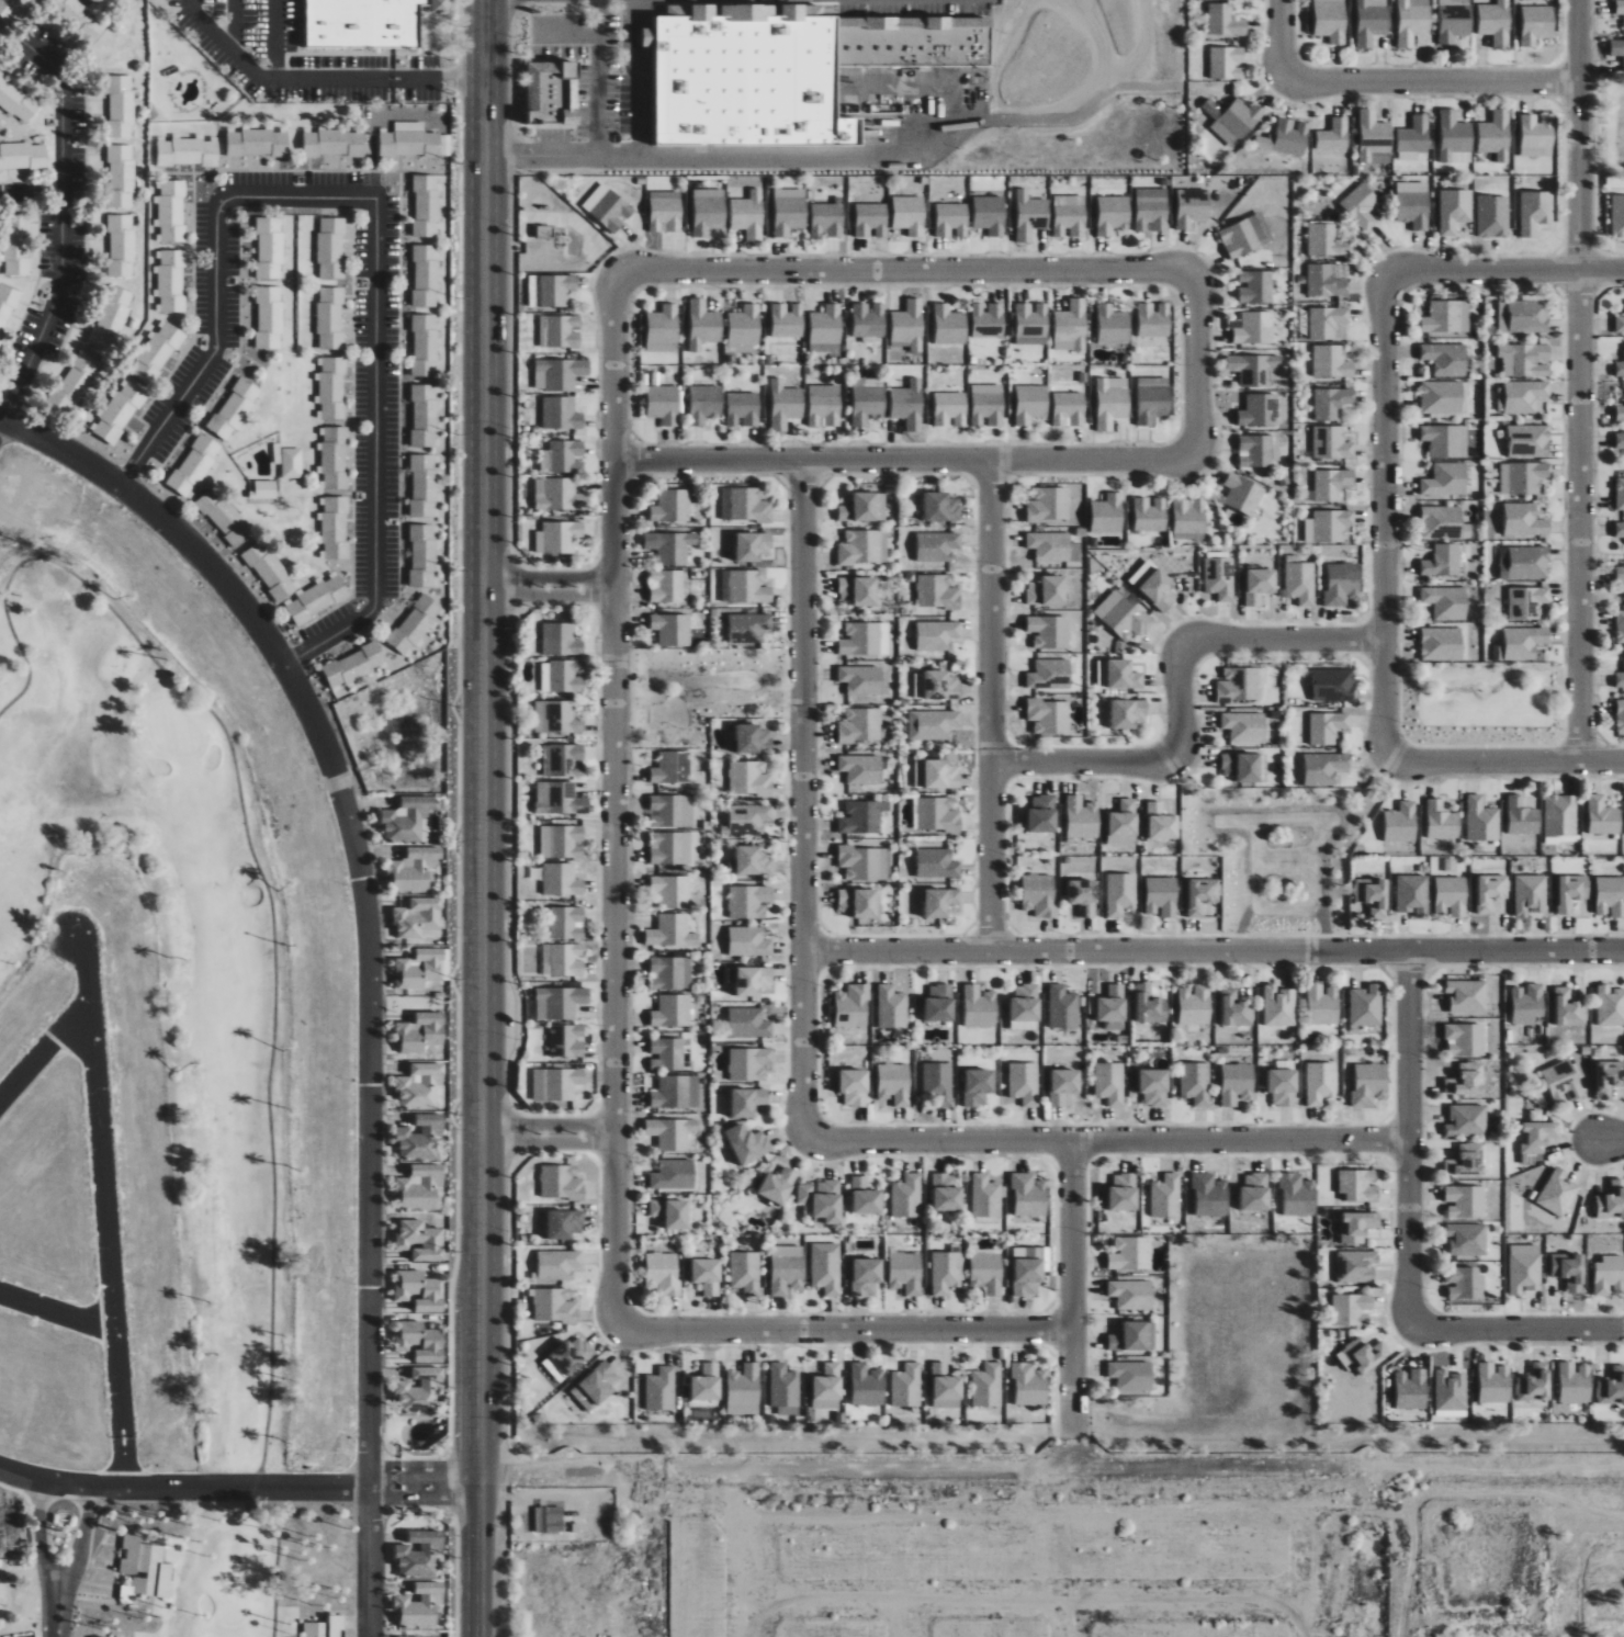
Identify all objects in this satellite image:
building: (1620, 7)
building: (10, 8)
parking lot: (912, 8)
building: (77, 16)
building: (1330, 20)
building: (1454, 20)
building: (1225, 21)
building: (1371, 21)
building: (1412, 21)
building: (1496, 22)
building: (366, 23)
building: (1536, 24)
building: (0, 27)
road: (236, 27)
building: (1623, 27)
road: (566, 37)
building: (649, 37)
road: (274, 38)
road: (1282, 38)
road: (643, 39)
road: (629, 41)
building: (912, 42)
building: (1616, 48)
building: (1227, 63)
parking lot: (587, 72)
road: (318, 78)
road: (598, 78)
building: (746, 81)
road: (1432, 82)
building: (549, 94)
building: (16, 100)
building: (121, 106)
road: (643, 117)
building: (1233, 120)
building: (1334, 135)
building: (1373, 135)
building: (1496, 135)
building: (1536, 135)
building: (1286, 137)
building: (1413, 138)
building: (1455, 138)
building: (409, 140)
building: (257, 143)
building: (335, 143)
building: (187, 153)
road: (845, 156)
building: (23, 157)
building: (121, 176)
road: (31, 193)
road: (297, 197)
building: (1413, 204)
building: (426, 205)
building: (1361, 205)
building: (608, 207)
building: (1192, 207)
building: (1151, 210)
building: (1455, 210)
building: (171, 211)
building: (709, 211)
building: (789, 211)
building: (665, 212)
building: (1535, 212)
building: (990, 214)
building: (1112, 214)
building: (748, 215)
building: (909, 215)
building: (1030, 215)
building: (1070, 216)
building: (1492, 216)
building: (1617, 216)
building: (827, 218)
building: (870, 221)
building: (951, 221)
road: (63, 228)
building: (545, 233)
building: (1239, 239)
building: (1327, 240)
building: (16, 244)
building: (122, 245)
building: (269, 247)
building: (330, 247)
road: (906, 272)
road: (1505, 272)
building: (425, 274)
building: (1328, 280)
building: (171, 281)
building: (1255, 286)
building: (554, 289)
building: (7, 306)
building: (1523, 315)
building: (112, 316)
building: (1447, 316)
building: (268, 317)
building: (330, 317)
building: (787, 319)
building: (868, 319)
building: (988, 319)
building: (1153, 319)
building: (1327, 321)
building: (909, 324)
building: (1030, 324)
building: (1620, 324)
building: (703, 325)
building: (949, 325)
building: (1113, 325)
building: (1071, 326)
building: (1258, 327)
building: (663, 329)
building: (744, 329)
building: (826, 329)
building: (560, 330)
building: (425, 345)
building: (157, 352)
road: (211, 358)
building: (1446, 358)
building: (1524, 359)
building: (1332, 361)
road: (1197, 365)
building: (1620, 368)
building: (1255, 369)
building: (559, 373)
building: (866, 381)
road: (1580, 381)
building: (75, 382)
building: (331, 387)
building: (1443, 396)
building: (1521, 396)
building: (1153, 398)
building: (1112, 400)
building: (706, 403)
building: (868, 403)
building: (1030, 403)
building: (1332, 403)
building: (664, 404)
building: (785, 404)
building: (909, 404)
building: (824, 405)
building: (986, 405)
building: (234, 408)
building: (950, 408)
building: (1069, 408)
building: (744, 409)
building: (1260, 409)
building: (120, 410)
building: (562, 413)
building: (1620, 413)
building: (424, 415)
road: (1, 424)
building: (1445, 440)
building: (1620, 440)
building: (1529, 441)
building: (1332, 442)
building: (1258, 451)
road: (375, 456)
building: (564, 456)
building: (334, 458)
road: (904, 461)
building: (292, 463)
building: (194, 464)
building: (1522, 477)
building: (1446, 479)
building: (1332, 484)
building: (422, 485)
building: (263, 489)
building: (1243, 493)
building: (1620, 493)
building: (560, 494)
building: (745, 504)
building: (1049, 504)
building: (672, 506)
building: (864, 507)
building: (941, 507)
building: (1108, 515)
building: (1150, 515)
building: (224, 517)
road: (1386, 517)
building: (1189, 518)
building: (1524, 520)
building: (1444, 522)
building: (1331, 524)
building: (334, 527)
building: (1620, 529)
building: (561, 535)
building: (753, 545)
building: (937, 545)
building: (1050, 545)
building: (672, 546)
building: (422, 554)
building: (1443, 561)
building: (1524, 563)
building: (269, 571)
building: (1219, 577)
road: (549, 578)
building: (1300, 582)
building: (1622, 582)
building: (1259, 584)
building: (1342, 584)
building: (666, 585)
building: (1154, 585)
building: (746, 587)
building: (859, 590)
building: (937, 590)
building: (1048, 590)
road: (549, 596)
building: (316, 599)
building: (1446, 601)
building: (1527, 601)
building: (1123, 616)
building: (415, 623)
building: (748, 626)
building: (1620, 626)
building: (672, 629)
building: (1049, 631)
building: (937, 634)
building: (861, 639)
building: (561, 640)
road: (1284, 640)
building: (1524, 642)
building: (1442, 643)
building: (353, 664)
building: (1050, 674)
building: (1124, 675)
building: (563, 676)
building: (1620, 679)
building: (865, 680)
building: (1239, 685)
building: (1333, 685)
road: (1181, 701)
park: (1482, 702)
road: (992, 705)
building: (1128, 712)
building: (1049, 715)
building: (1620, 715)
building: (557, 716)
building: (860, 724)
building: (933, 725)
building: (1244, 726)
building: (1327, 726)
building: (753, 738)
building: (564, 760)
road: (1084, 763)
road: (1505, 763)
building: (1244, 766)
building: (672, 767)
building: (1324, 767)
building: (861, 769)
building: (940, 774)
building: (749, 778)
building: (561, 799)
road: (803, 799)
road: (614, 800)
building: (672, 810)
building: (936, 814)
building: (1042, 814)
building: (864, 816)
building: (1522, 816)
building: (1603, 816)
building: (1082, 817)
road: (483, 818)
building: (748, 818)
building: (1560, 818)
building: (409, 820)
building: (1442, 820)
building: (1481, 820)
building: (1161, 822)
building: (1401, 822)
building: (1124, 823)
building: (562, 842)
building: (670, 847)
building: (751, 860)
building: (864, 862)
building: (937, 863)
building: (415, 869)
building: (561, 879)
road: (266, 884)
building: (673, 891)
building: (1491, 891)
building: (1572, 891)
building: (1120, 893)
building: (1039, 894)
building: (1202, 894)
building: (1372, 894)
building: (1413, 894)
building: (1531, 894)
building: (1451, 895)
building: (1610, 895)
building: (1084, 896)
building: (1161, 896)
building: (748, 901)
building: (940, 901)
building: (858, 902)
building: (418, 917)
building: (567, 922)
building: (672, 932)
building: (748, 941)
road: (370, 951)
road: (1214, 951)
building: (567, 959)
building: (420, 969)
building: (670, 972)
building: (751, 980)
building: (1467, 995)
building: (560, 1002)
building: (939, 1003)
building: (1527, 1003)
building: (1195, 1004)
building: (1323, 1004)
building: (1150, 1005)
building: (1279, 1005)
building: (1366, 1005)
building: (1610, 1005)
building: (979, 1006)
building: (853, 1007)
building: (892, 1007)
building: (1025, 1007)
building: (1063, 1007)
building: (1113, 1008)
building: (1237, 1008)
building: (1569, 1008)
building: (672, 1011)
building: (749, 1023)
building: (421, 1031)
building: (1466, 1039)
building: (567, 1040)
road: (45, 1049)
building: (670, 1053)
building: (749, 1063)
building: (1609, 1077)
building: (1467, 1079)
building: (1320, 1082)
building: (1563, 1082)
building: (938, 1083)
building: (1024, 1083)
building: (1110, 1083)
building: (1196, 1083)
building: (1237, 1083)
building: (1284, 1083)
building: (556, 1084)
building: (894, 1084)
building: (1369, 1084)
building: (420, 1085)
building: (1063, 1085)
building: (978, 1086)
building: (1154, 1086)
building: (854, 1087)
building: (672, 1092)
building: (747, 1102)
building: (1467, 1120)
road: (549, 1126)
building: (673, 1134)
building: (421, 1137)
road: (1409, 1138)
building: (1536, 1139)
road: (1107, 1140)
road: (1609, 1140)
road: (549, 1143)
building: (747, 1143)
building: (1467, 1161)
building: (674, 1174)
building: (561, 1182)
building: (778, 1185)
building: (1358, 1185)
building: (420, 1186)
building: (947, 1193)
building: (1124, 1193)
building: (1255, 1193)
building: (1558, 1193)
building: (1209, 1194)
building: (1297, 1194)
building: (1029, 1195)
building: (907, 1196)
building: (986, 1196)
building: (1166, 1196)
building: (866, 1197)
building: (823, 1199)
building: (1465, 1201)
building: (1612, 1201)
road: (106, 1209)
building: (672, 1212)
park: (233, 1220)
building: (565, 1223)
building: (1357, 1226)
building: (1467, 1239)
building: (420, 1240)
building: (1131, 1253)
building: (559, 1264)
building: (1356, 1266)
building: (826, 1267)
building: (786, 1268)
building: (1525, 1268)
building: (1027, 1269)
building: (1569, 1271)
building: (746, 1272)
building: (663, 1273)
building: (906, 1273)
building: (947, 1273)
building: (986, 1273)
building: (707, 1275)
building: (1610, 1275)
building: (866, 1276)
building: (1465, 1283)
road: (1073, 1289)
building: (419, 1290)
building: (1131, 1294)
building: (554, 1305)
building: (1352, 1309)
road: (57, 1312)
road: (845, 1330)
road: (1518, 1330)
building: (1129, 1337)
building: (420, 1342)
building: (572, 1355)
building: (1362, 1355)
building: (1131, 1375)
building: (707, 1382)
building: (946, 1382)
building: (1493, 1382)
building: (1575, 1382)
building: (1029, 1384)
building: (1534, 1384)
building: (867, 1385)
building: (596, 1386)
building: (906, 1386)
building: (988, 1386)
building: (827, 1387)
building: (1612, 1387)
building: (662, 1389)
building: (744, 1389)
building: (785, 1389)
building: (1411, 1389)
building: (1451, 1390)
road: (439, 1464)
road: (495, 1464)
road: (385, 1465)
road: (954, 1465)
road: (439, 1478)
road: (383, 1479)
road: (183, 1489)
road: (417, 1489)
road: (1450, 1493)
road: (383, 1498)
road: (438, 1498)
building: (548, 1519)
road: (41, 1554)
road: (278, 1554)
building: (420, 1554)
road: (78, 1557)
crop: (1508, 1561)
building: (146, 1568)
road: (1411, 1570)
building: (419, 1605)
building: (336, 1626)
building: (315, 1629)
road: (57, 1632)
building: (396, 1636)
road: (1518, 1636)

